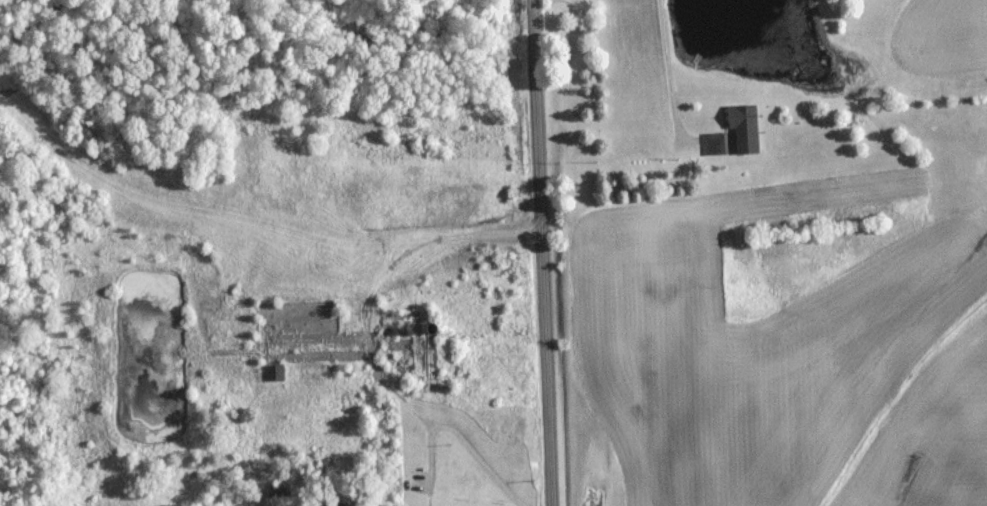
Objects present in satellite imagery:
road: (666, 70)
building: (742, 127)
road: (538, 253)
building: (260, 315)
road: (459, 440)

